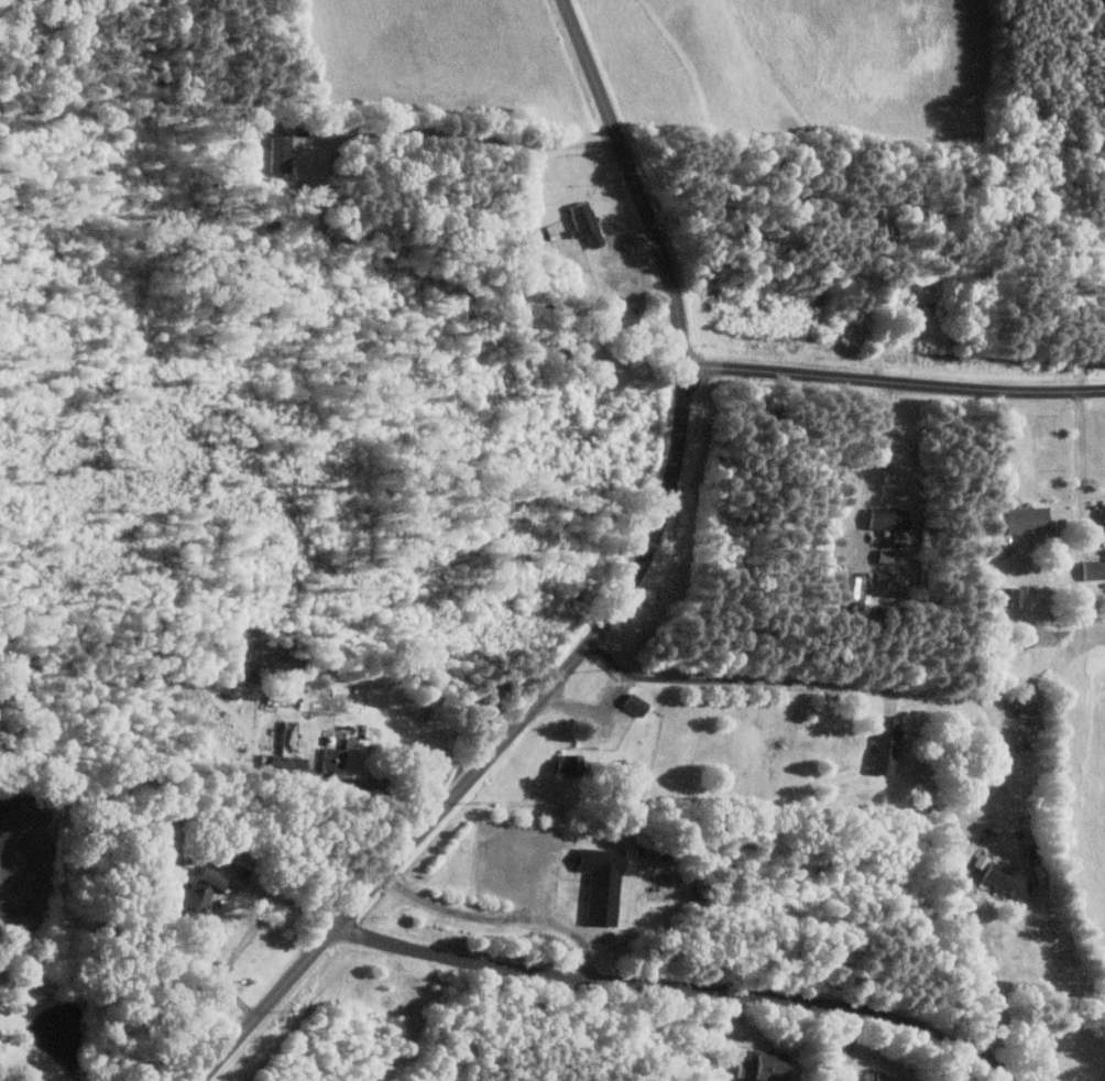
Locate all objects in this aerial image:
road: (472, 138)
building: (282, 154)
building: (589, 222)
road: (1087, 338)
road: (895, 383)
road: (995, 446)
road: (875, 448)
road: (1083, 468)
building: (1028, 518)
building: (891, 520)
building: (887, 556)
building: (1094, 570)
building: (858, 592)
road: (619, 601)
road: (965, 695)
building: (1032, 700)
building: (638, 703)
road: (593, 706)
building: (887, 743)
building: (348, 757)
building: (572, 764)
building: (1009, 880)
building: (604, 884)
building: (201, 891)
road: (227, 894)
road: (500, 917)
road: (679, 986)
building: (766, 1066)
building: (880, 1075)

